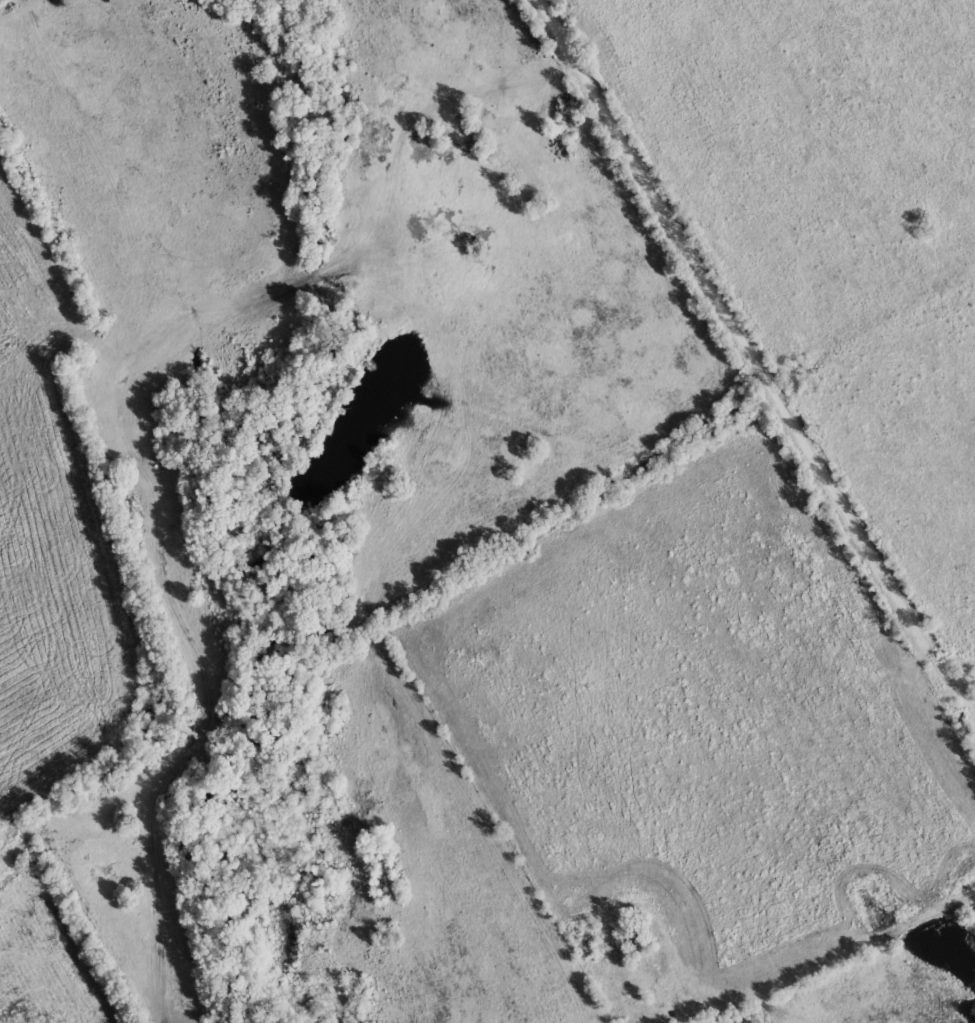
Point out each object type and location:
road: (753, 346)

